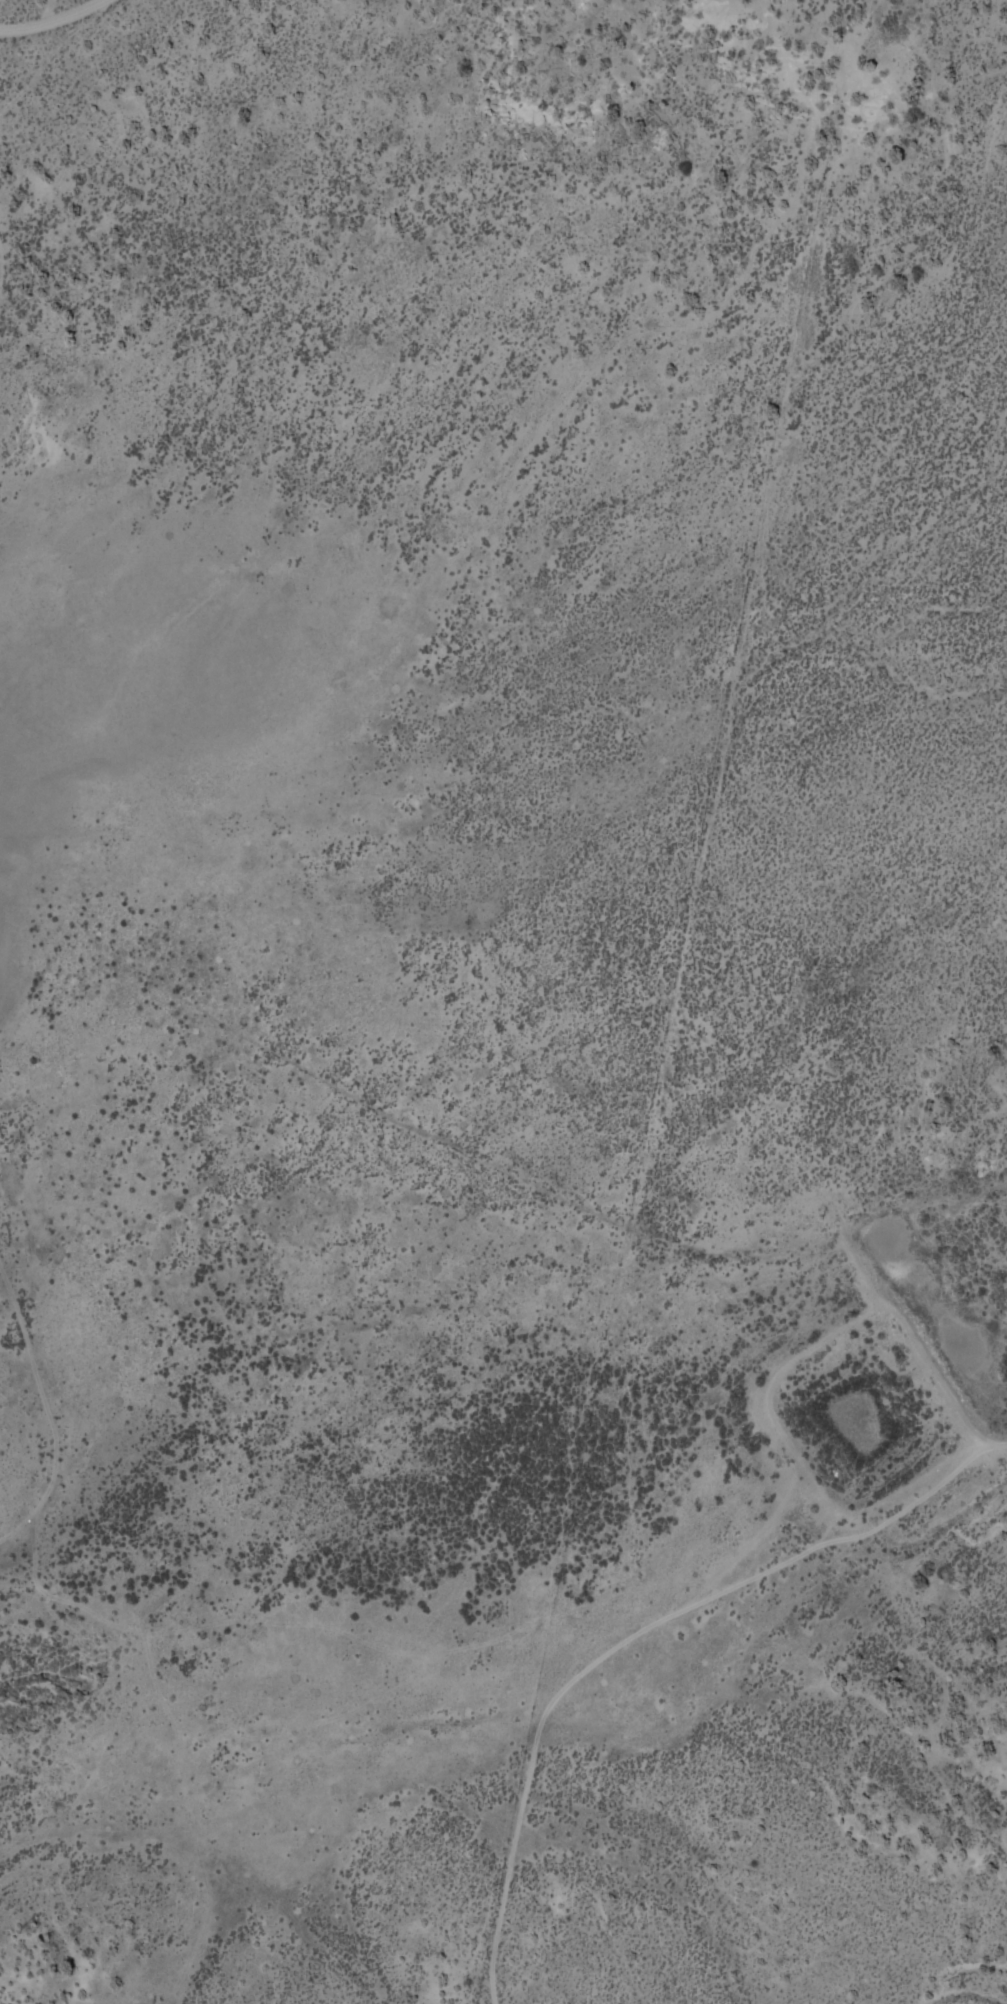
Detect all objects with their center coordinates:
road: (51, 20)

